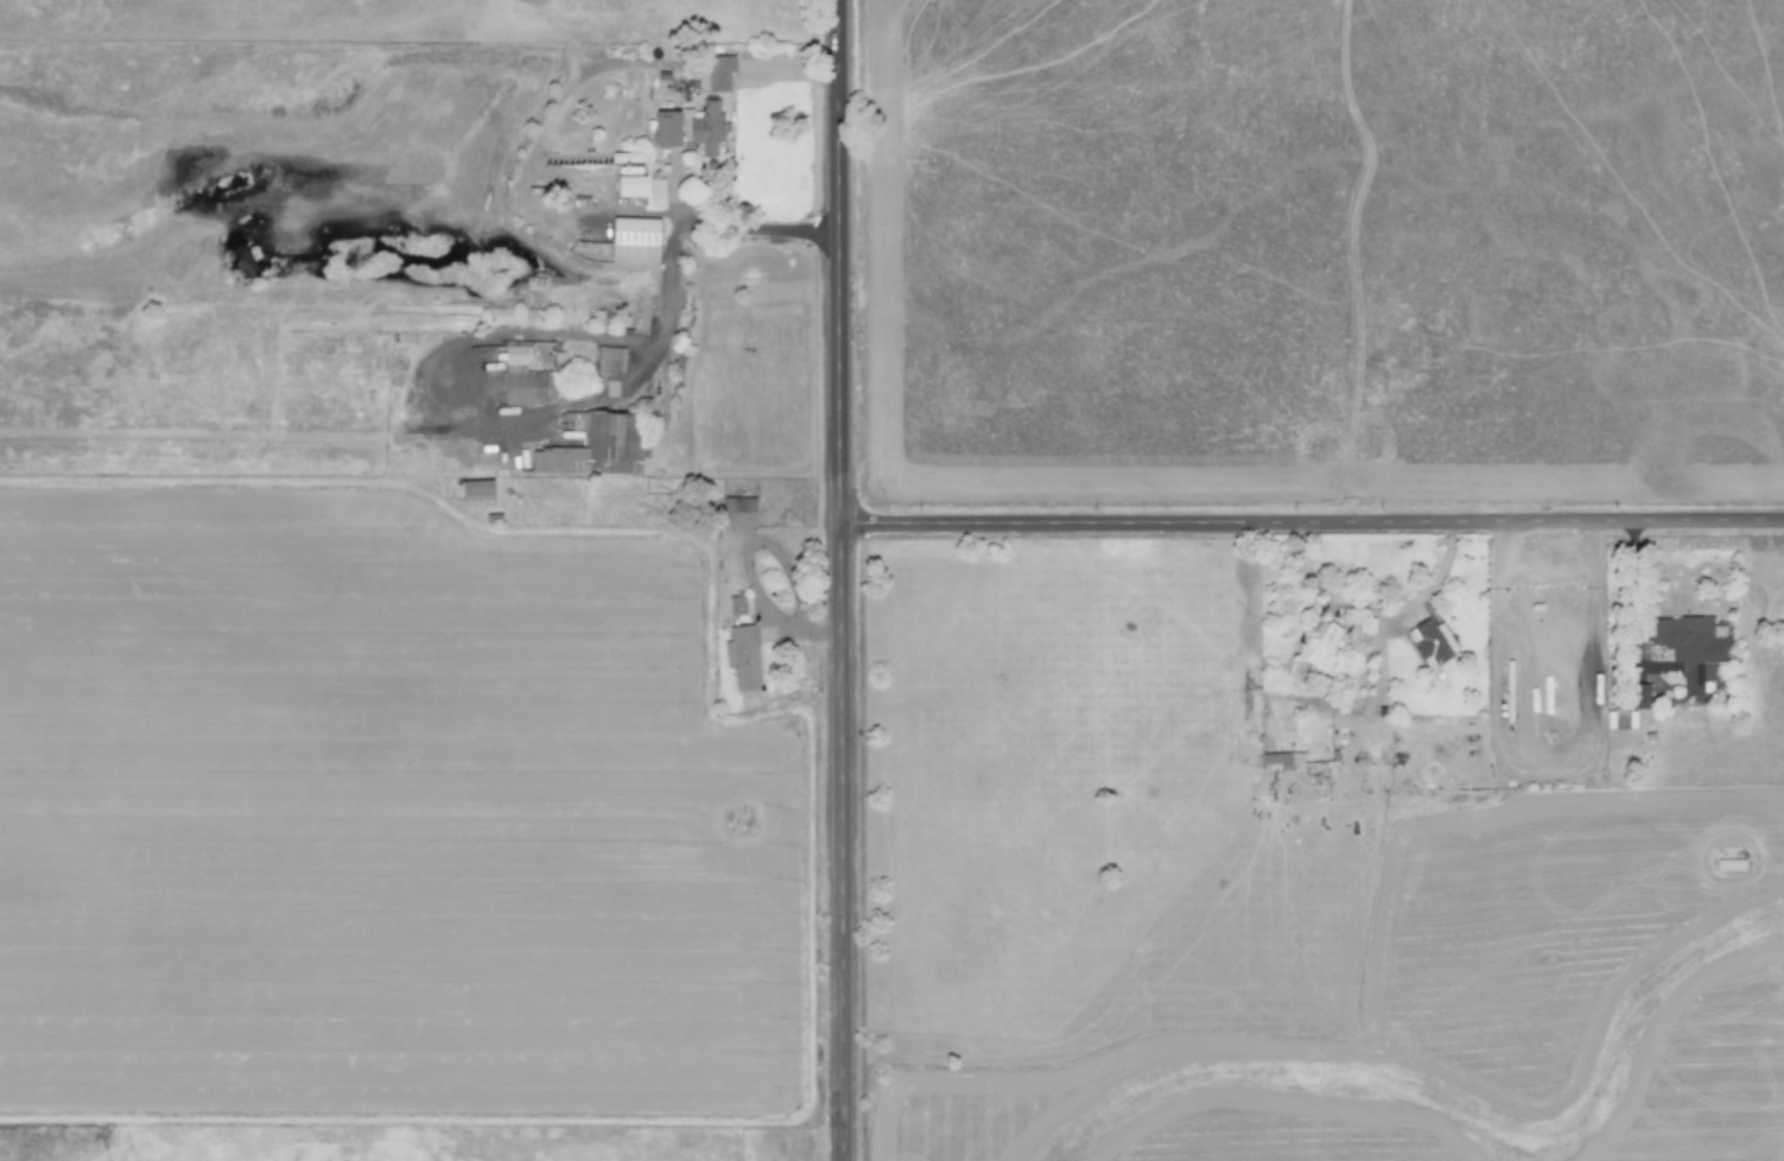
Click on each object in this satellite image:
building: (719, 70)
building: (690, 125)
building: (630, 184)
building: (655, 191)
building: (634, 239)
building: (526, 378)
road: (577, 400)
building: (596, 445)
building: (476, 487)
building: (738, 510)
road: (1313, 522)
road: (1591, 540)
road: (1498, 544)
road: (1544, 573)
road: (843, 580)
building: (736, 603)
building: (1430, 640)
building: (1689, 646)
building: (743, 655)
building: (1639, 694)
road: (1551, 765)
crop: (805, 854)

